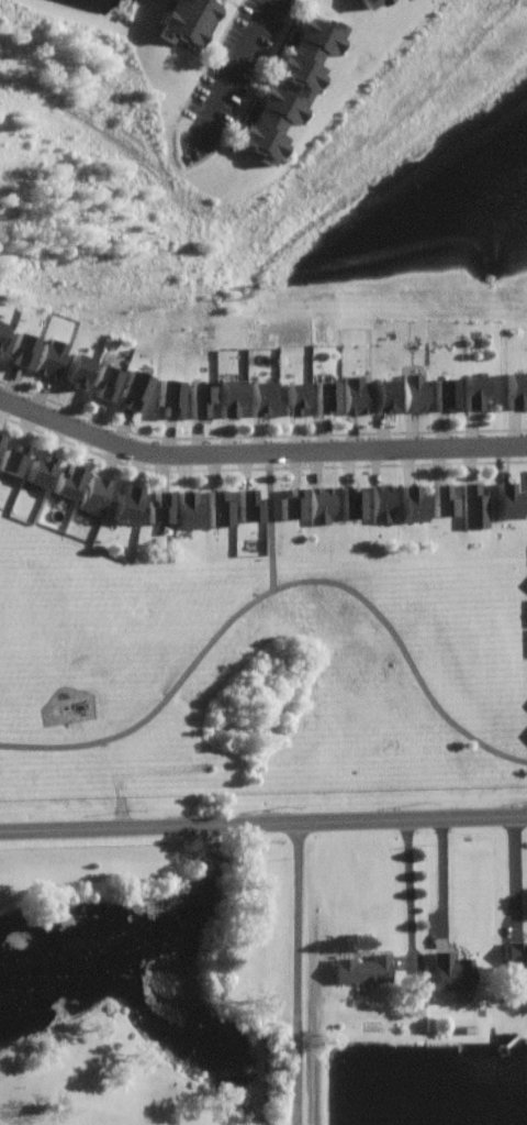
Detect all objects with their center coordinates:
building: (372, 2)
building: (189, 20)
road: (232, 76)
building: (276, 91)
building: (2, 327)
building: (22, 346)
building: (51, 359)
building: (78, 368)
building: (105, 380)
building: (135, 389)
building: (516, 389)
building: (473, 391)
building: (415, 393)
building: (446, 394)
building: (355, 395)
building: (385, 395)
building: (295, 396)
building: (326, 396)
building: (169, 397)
building: (228, 397)
building: (259, 398)
building: (200, 399)
building: (0, 439)
road: (258, 454)
building: (12, 459)
building: (38, 471)
building: (67, 481)
building: (94, 494)
building: (444, 499)
building: (506, 500)
building: (125, 503)
building: (352, 503)
building: (383, 503)
building: (292, 504)
building: (322, 504)
building: (413, 504)
building: (250, 505)
building: (475, 506)
building: (158, 507)
building: (217, 508)
building: (187, 509)
road: (271, 520)
road: (272, 587)
road: (263, 824)
road: (520, 872)
road: (441, 878)
road: (408, 890)
building: (517, 955)
building: (363, 970)
building: (451, 972)
road: (301, 974)

